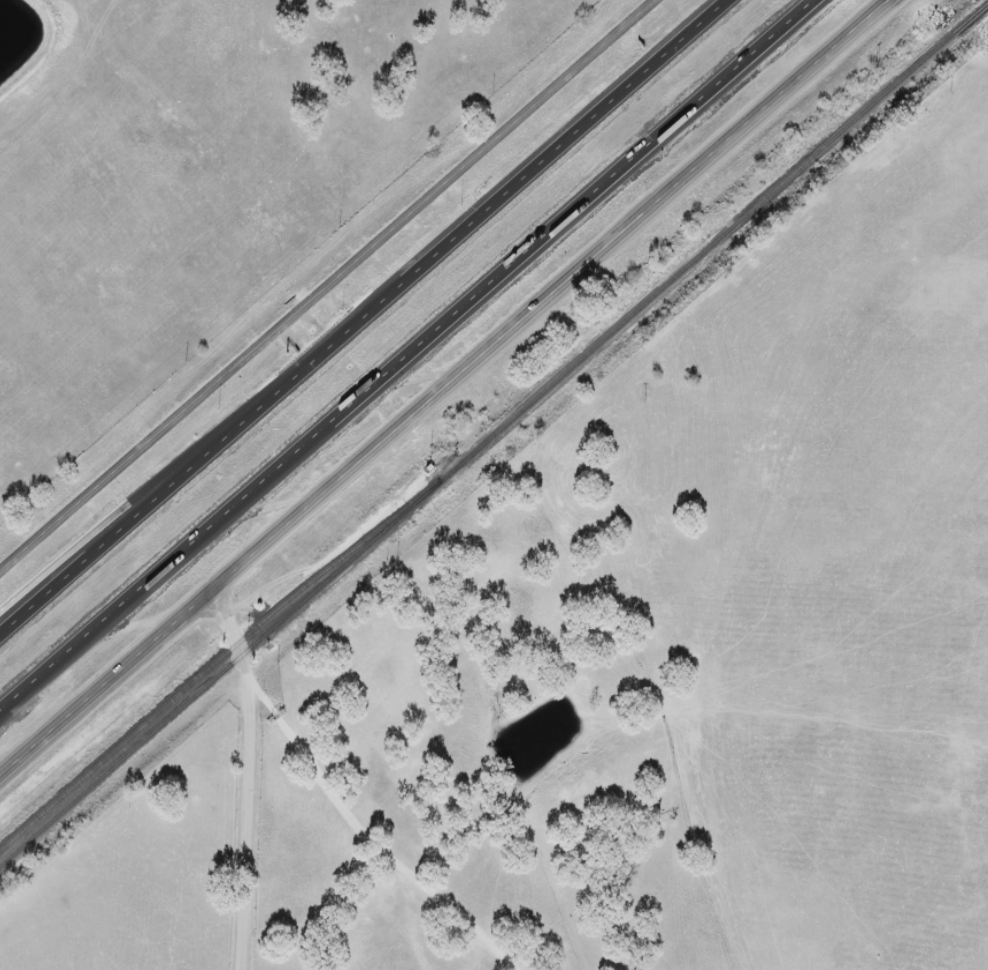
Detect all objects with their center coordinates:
road: (326, 285)
road: (362, 317)
road: (406, 354)
road: (446, 387)
railway: (494, 434)
railway: (219, 659)
road: (247, 777)
road: (370, 836)

